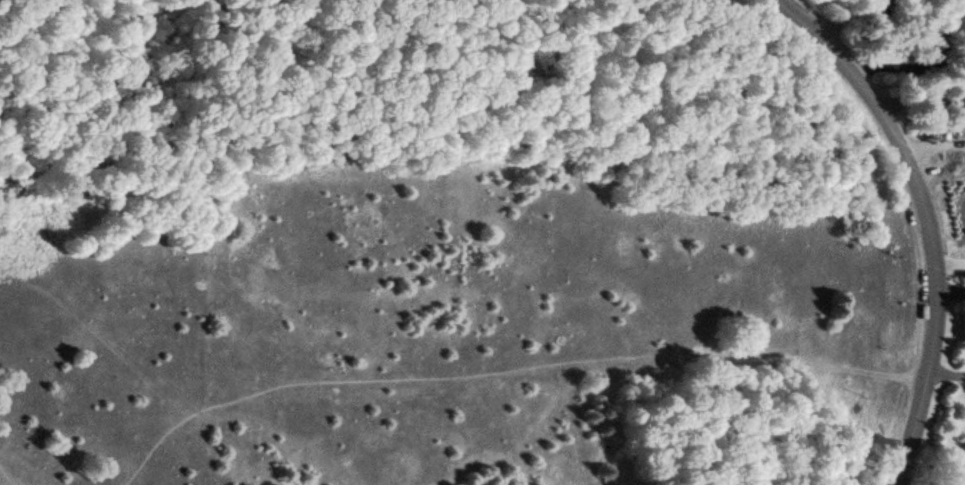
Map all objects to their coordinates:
building: (964, 8)
road: (930, 218)
road: (510, 377)
road: (5, 477)

